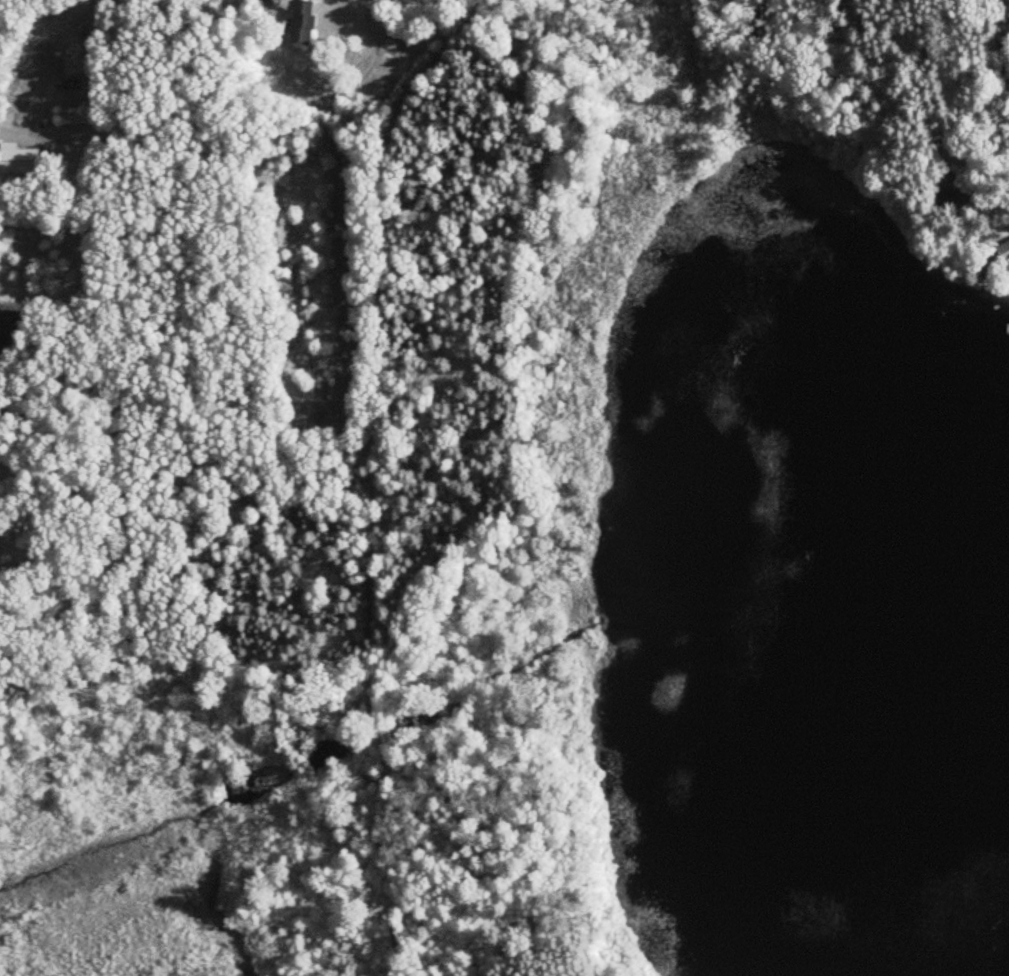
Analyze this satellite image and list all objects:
road: (352, 10)
building: (305, 22)
road: (987, 56)
building: (68, 102)
building: (21, 160)
building: (954, 185)
road: (117, 311)
building: (6, 335)
road: (58, 416)

